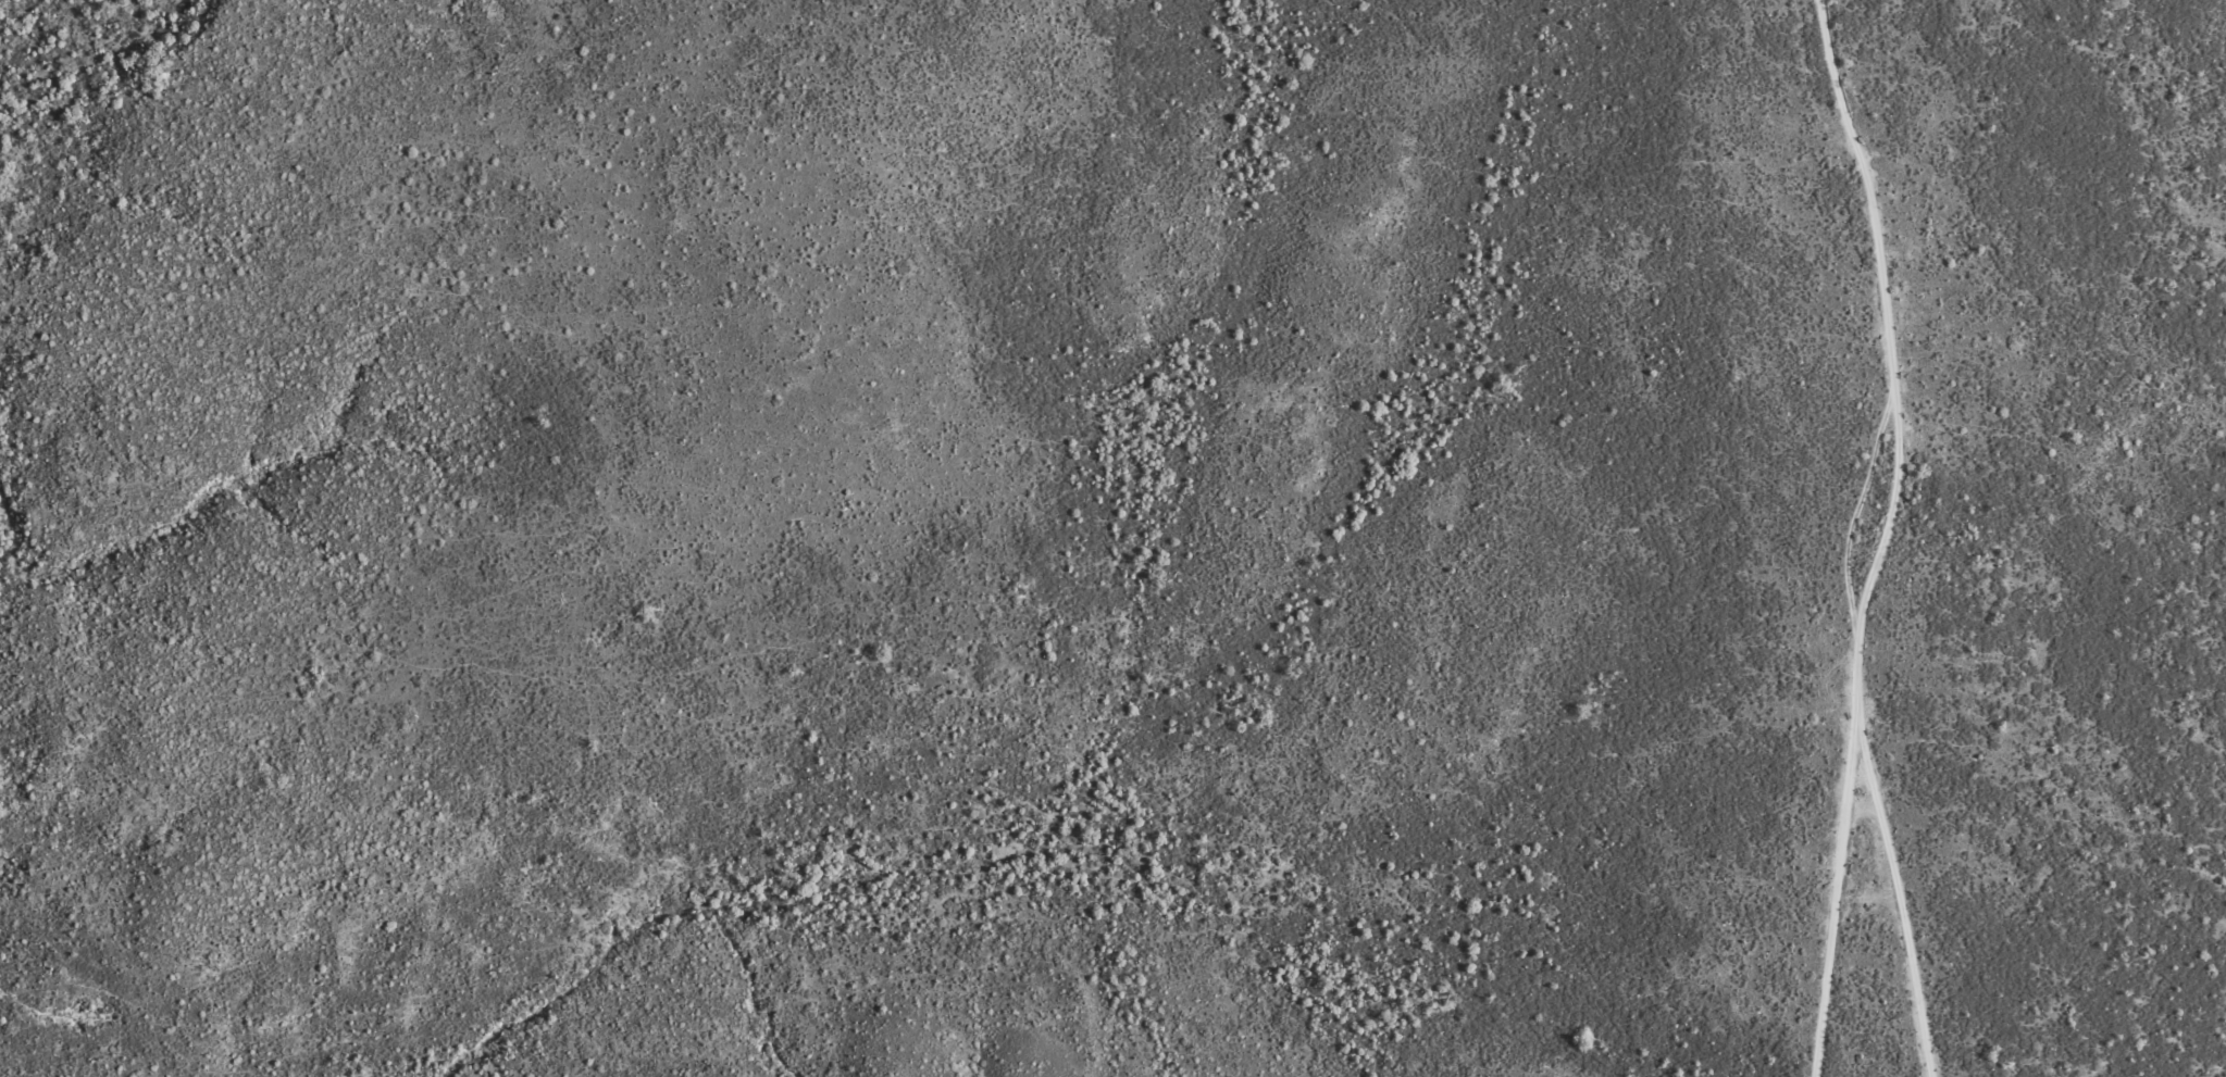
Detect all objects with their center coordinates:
road: (1891, 538)
road: (1905, 903)

